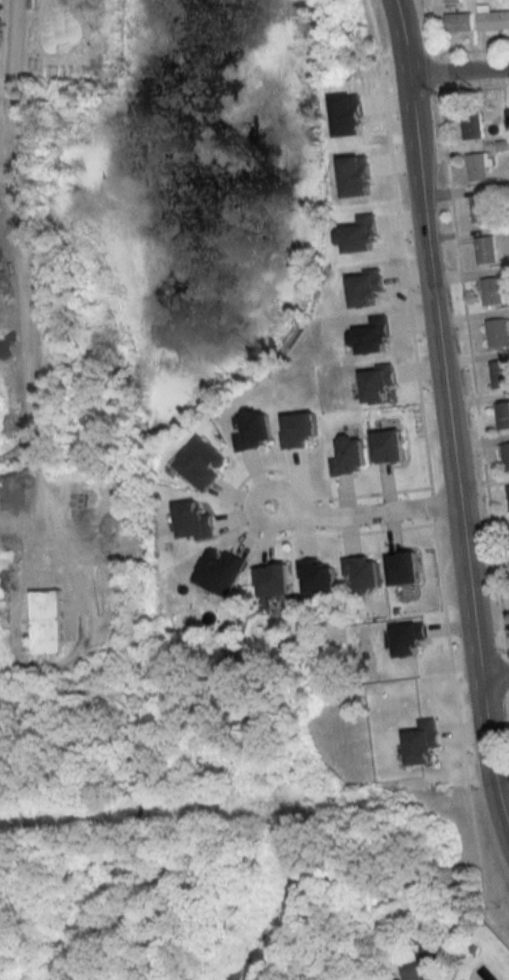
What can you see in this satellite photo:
building: (493, 19)
building: (458, 21)
road: (457, 71)
building: (472, 126)
building: (478, 166)
building: (505, 188)
building: (481, 209)
road: (30, 242)
building: (486, 250)
building: (492, 291)
building: (497, 332)
road: (466, 333)
building: (500, 374)
building: (502, 416)
road: (451, 428)
building: (505, 456)
road: (431, 475)
building: (508, 490)
road: (364, 514)
building: (16, 554)
building: (47, 623)
road: (494, 675)
road: (44, 710)
road: (138, 783)
park: (146, 890)
building: (421, 965)

